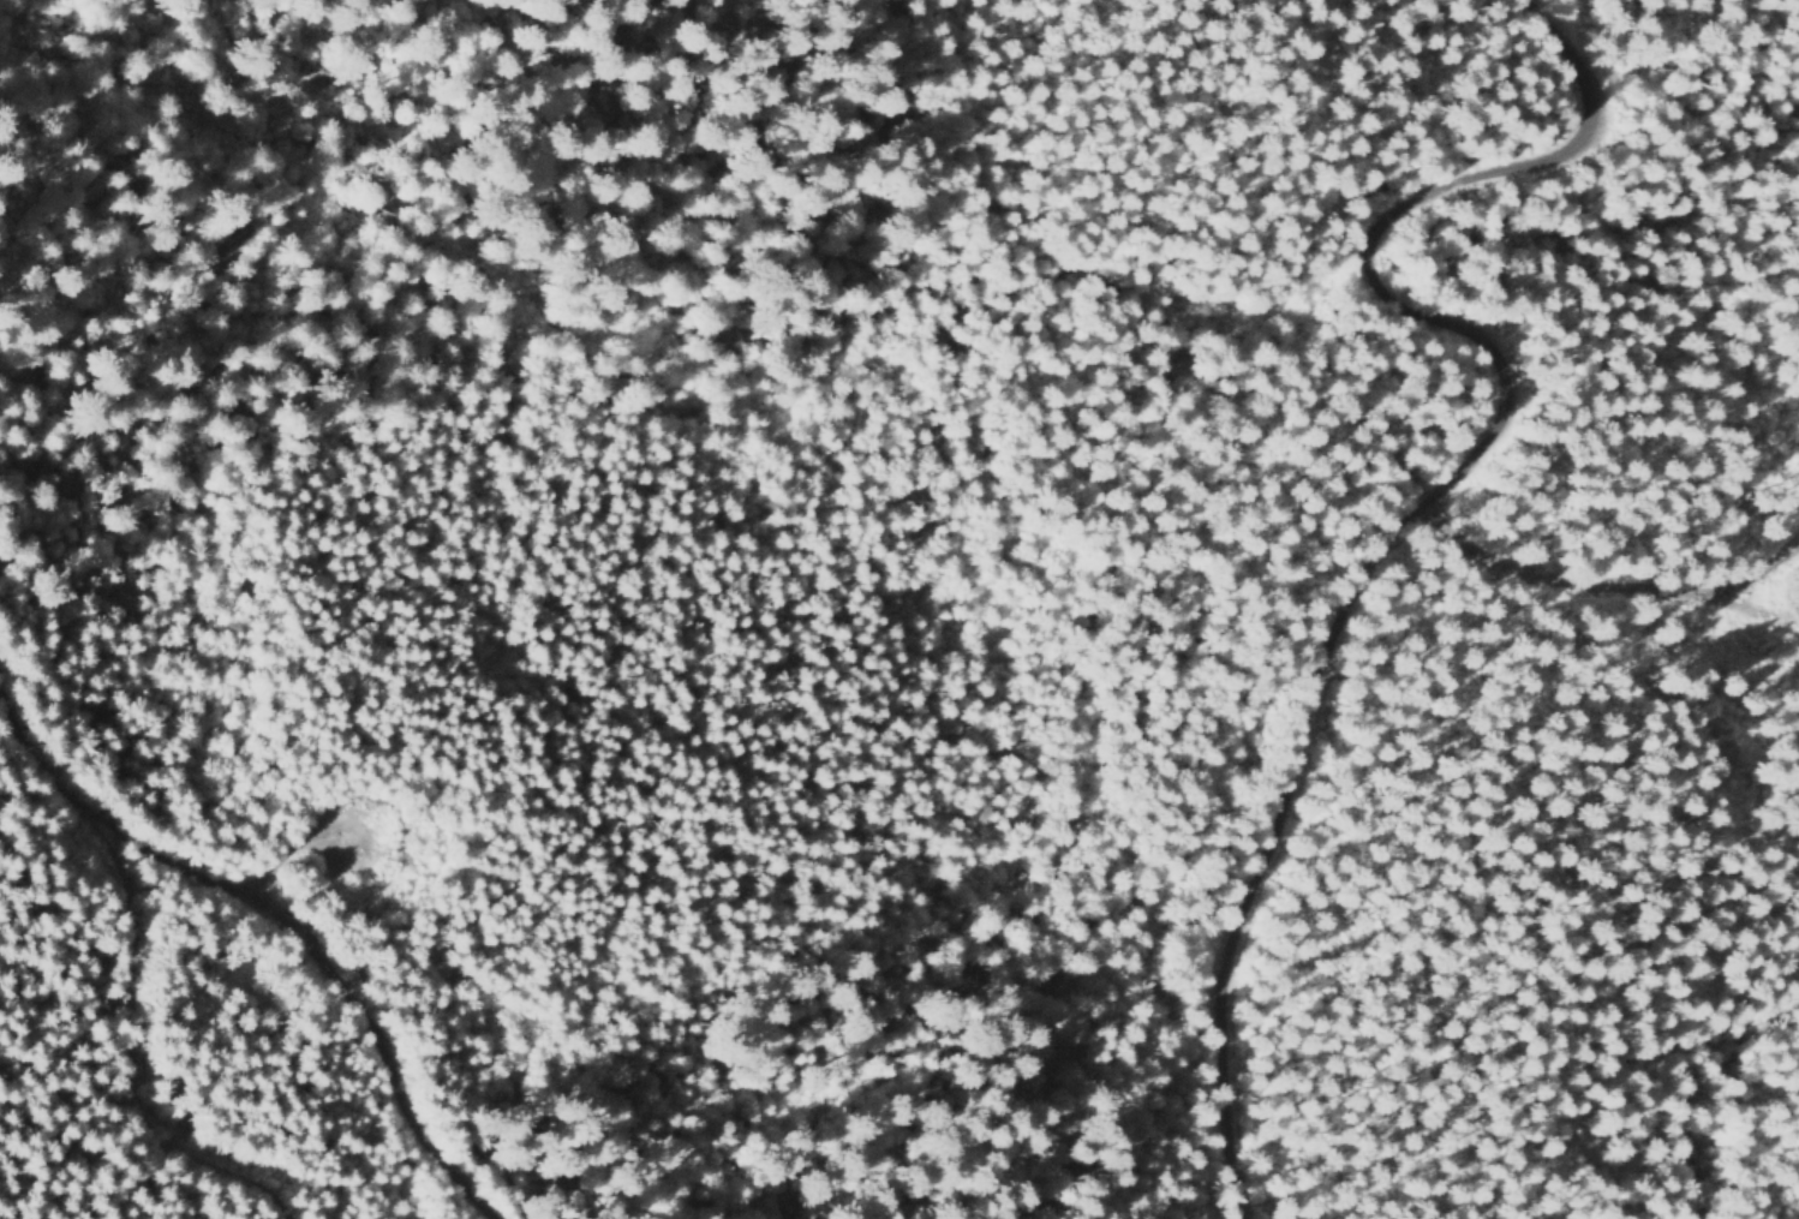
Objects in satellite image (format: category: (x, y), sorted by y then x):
road: (1426, 498)
road: (1604, 592)
road: (264, 912)
road: (148, 1048)

